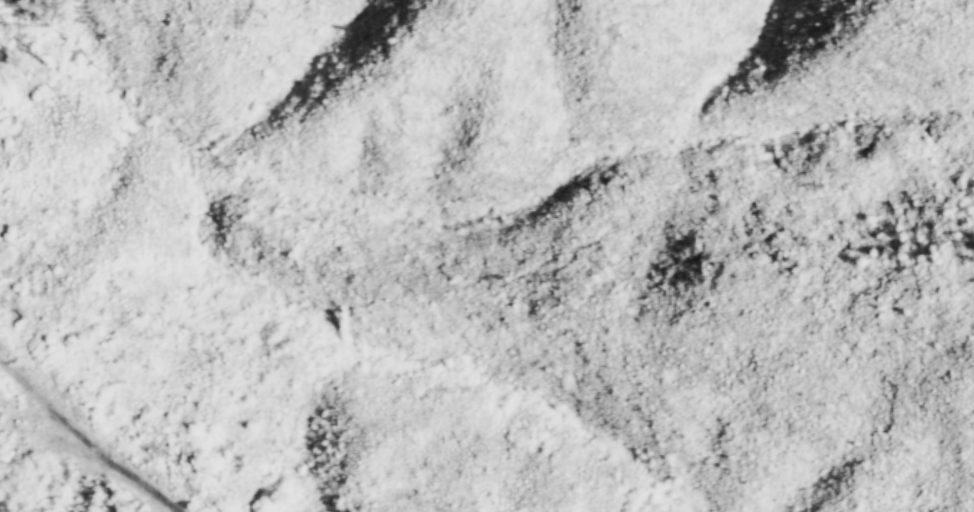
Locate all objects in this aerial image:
road: (86, 434)

